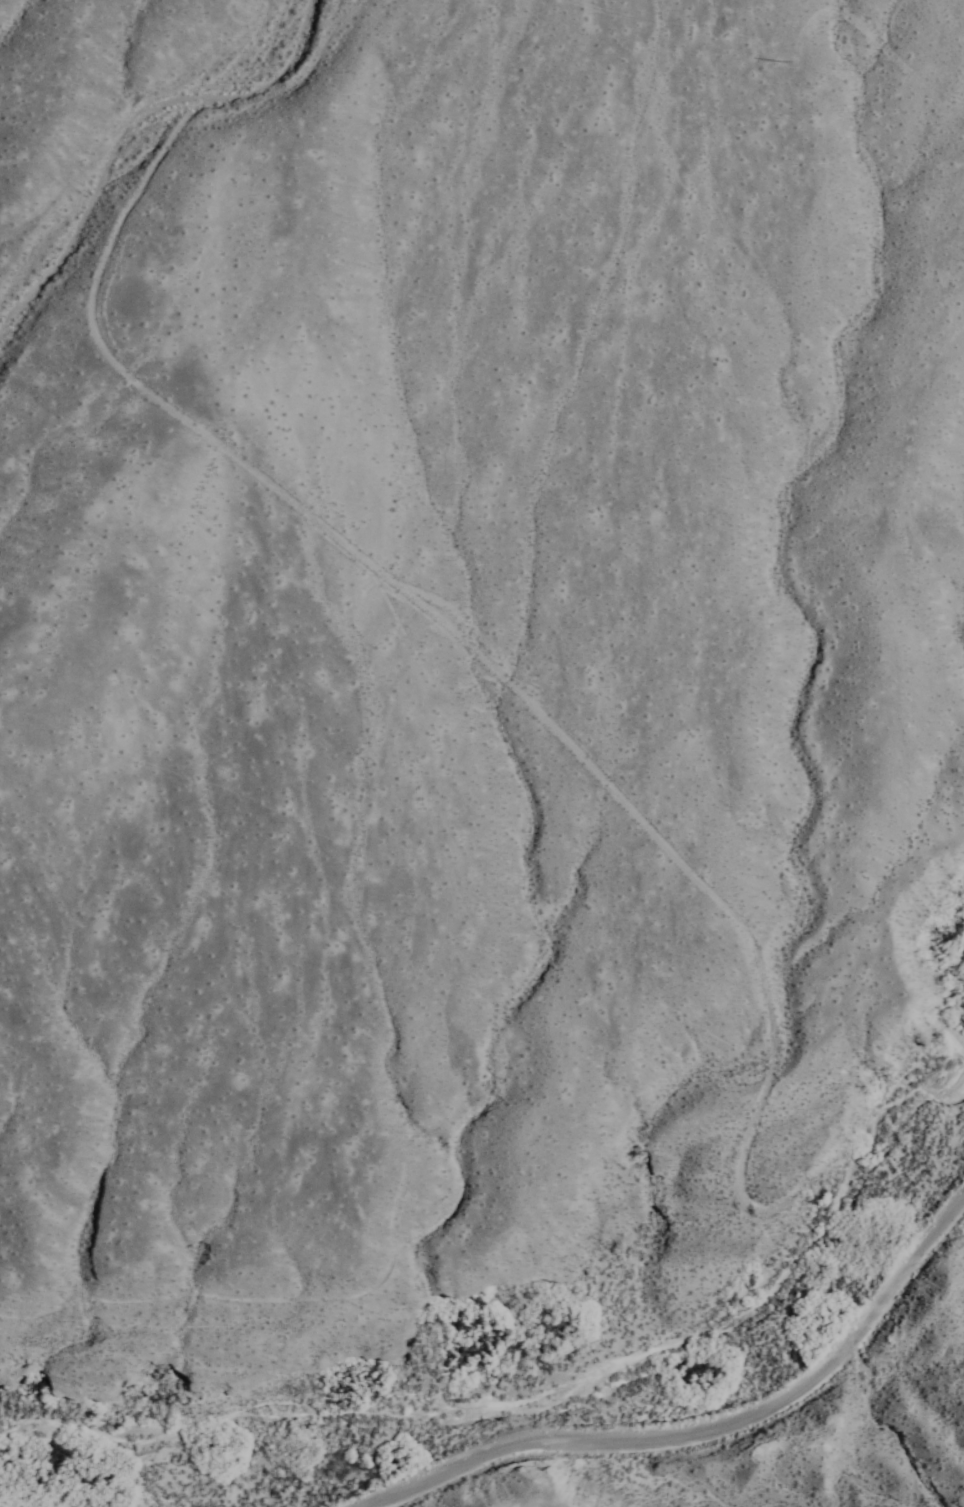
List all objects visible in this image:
road: (704, 1429)

